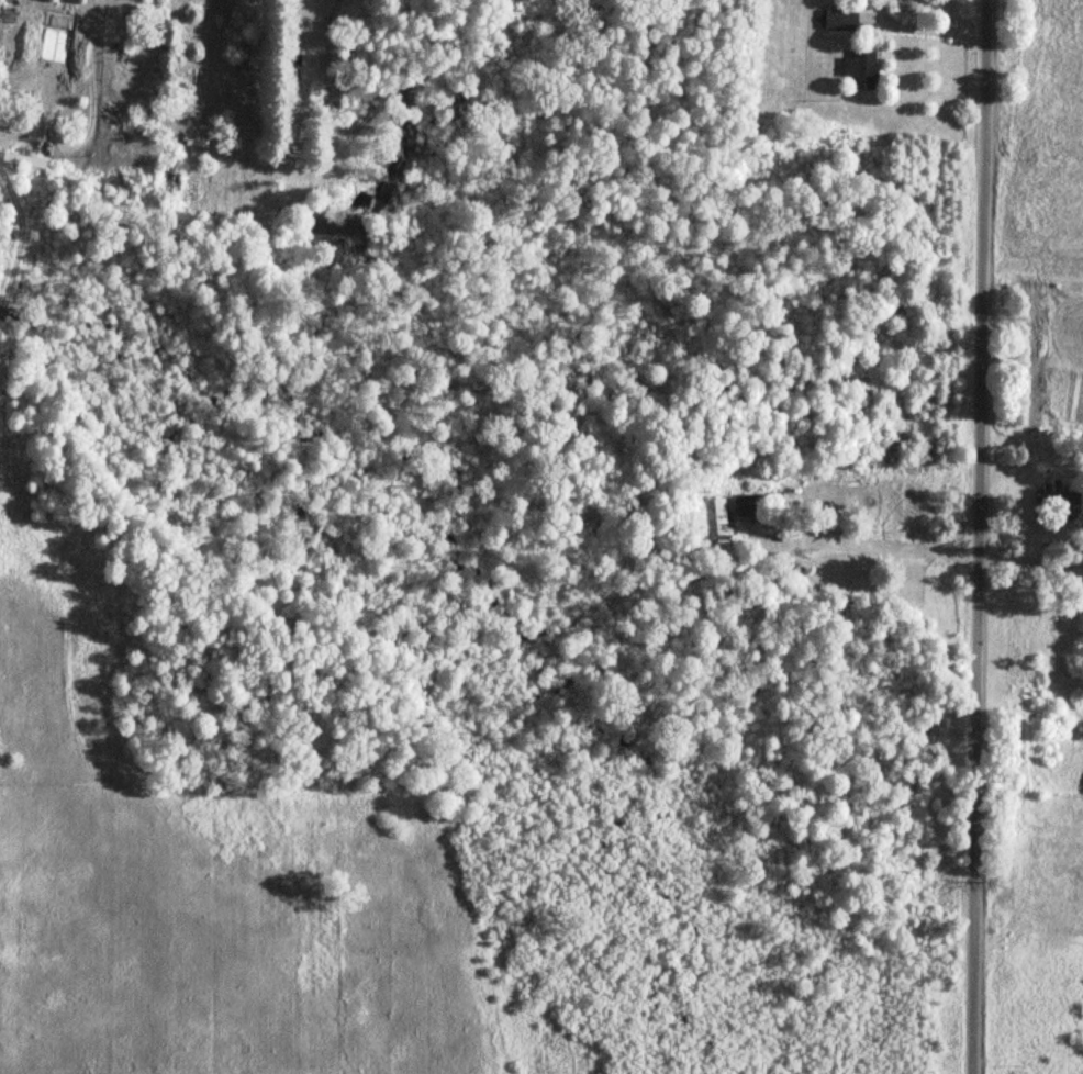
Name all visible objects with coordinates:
building: (840, 20)
building: (866, 68)
road: (253, 72)
building: (25, 160)
building: (750, 505)
building: (721, 524)
road: (985, 537)
road: (867, 542)

